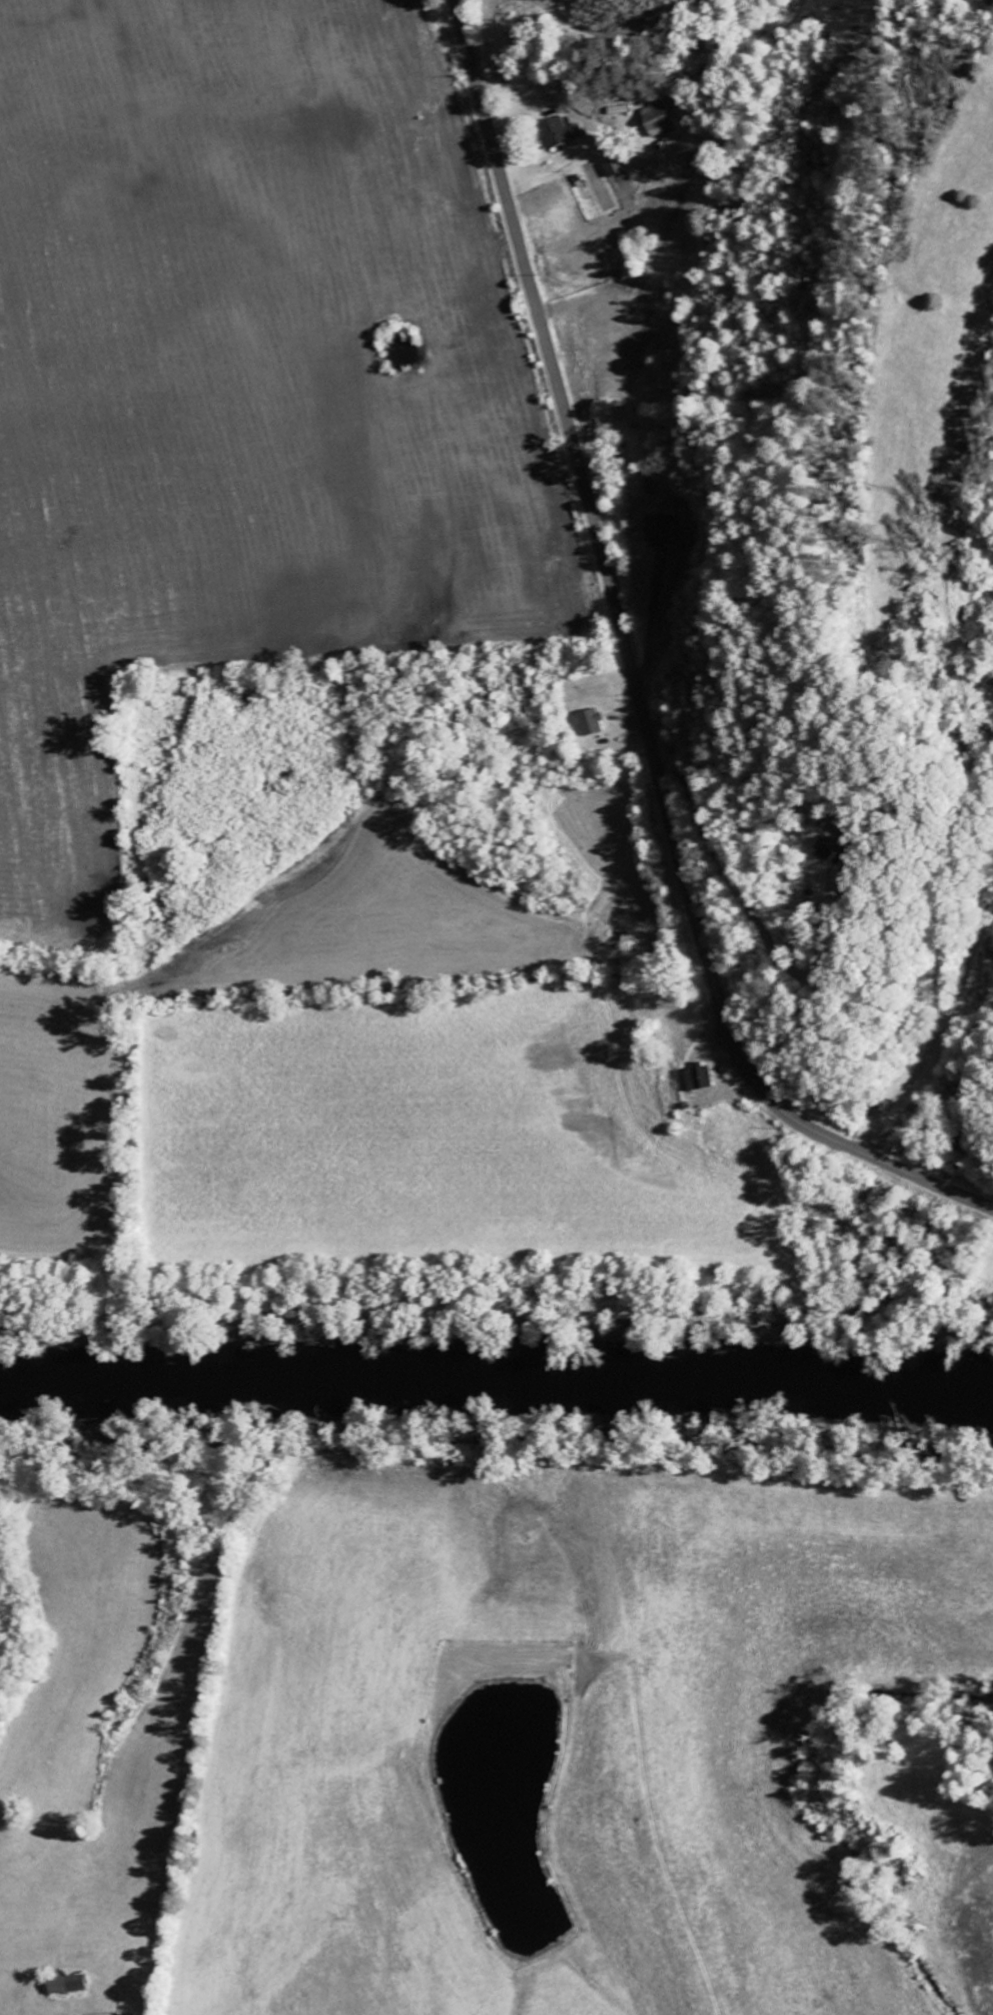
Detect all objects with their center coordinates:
building: (660, 119)
building: (566, 132)
building: (663, 528)
road: (633, 673)
building: (596, 721)
building: (831, 847)
road: (917, 1037)
building: (703, 1078)
river: (496, 1358)
building: (77, 1985)

